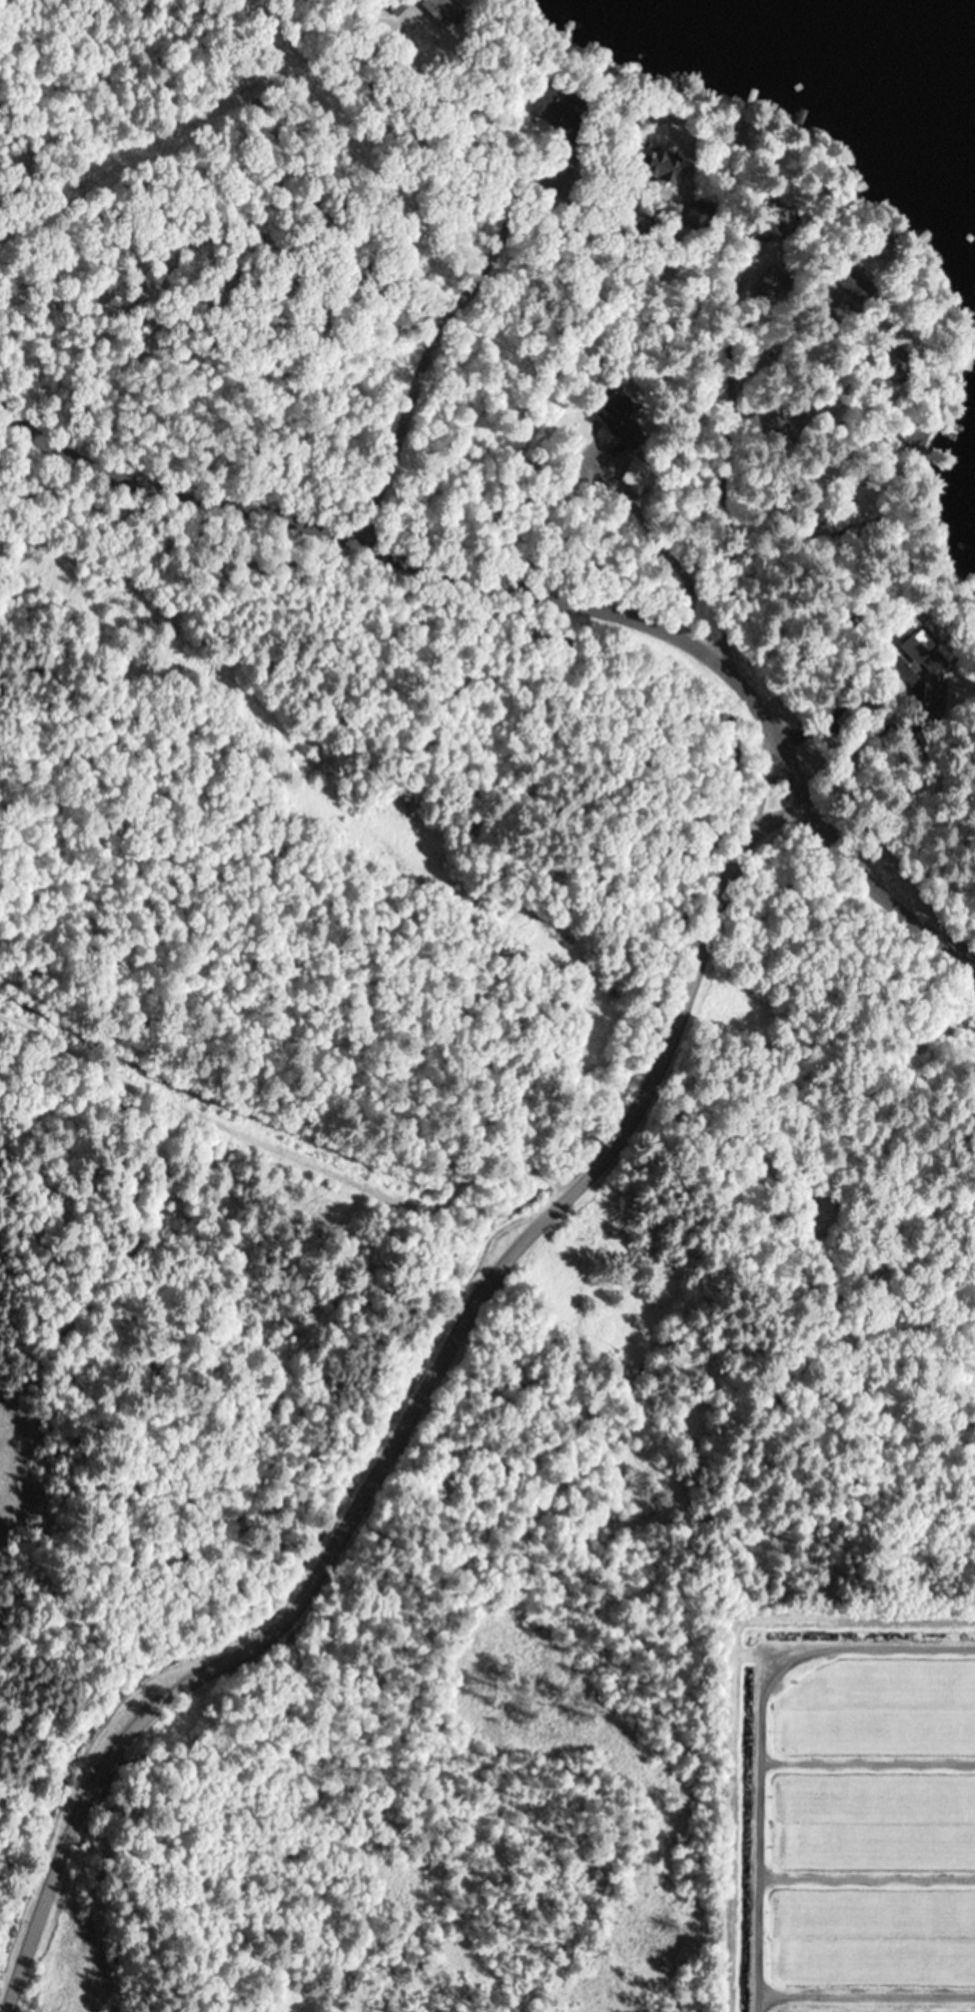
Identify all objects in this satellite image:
building: (443, 13)
building: (552, 100)
building: (660, 163)
building: (772, 220)
building: (854, 283)
road: (721, 298)
building: (616, 415)
building: (915, 438)
building: (636, 474)
building: (866, 501)
road: (543, 589)
building: (923, 647)
road: (264, 1108)
road: (222, 1168)
road: (407, 1413)
crop: (851, 1815)

